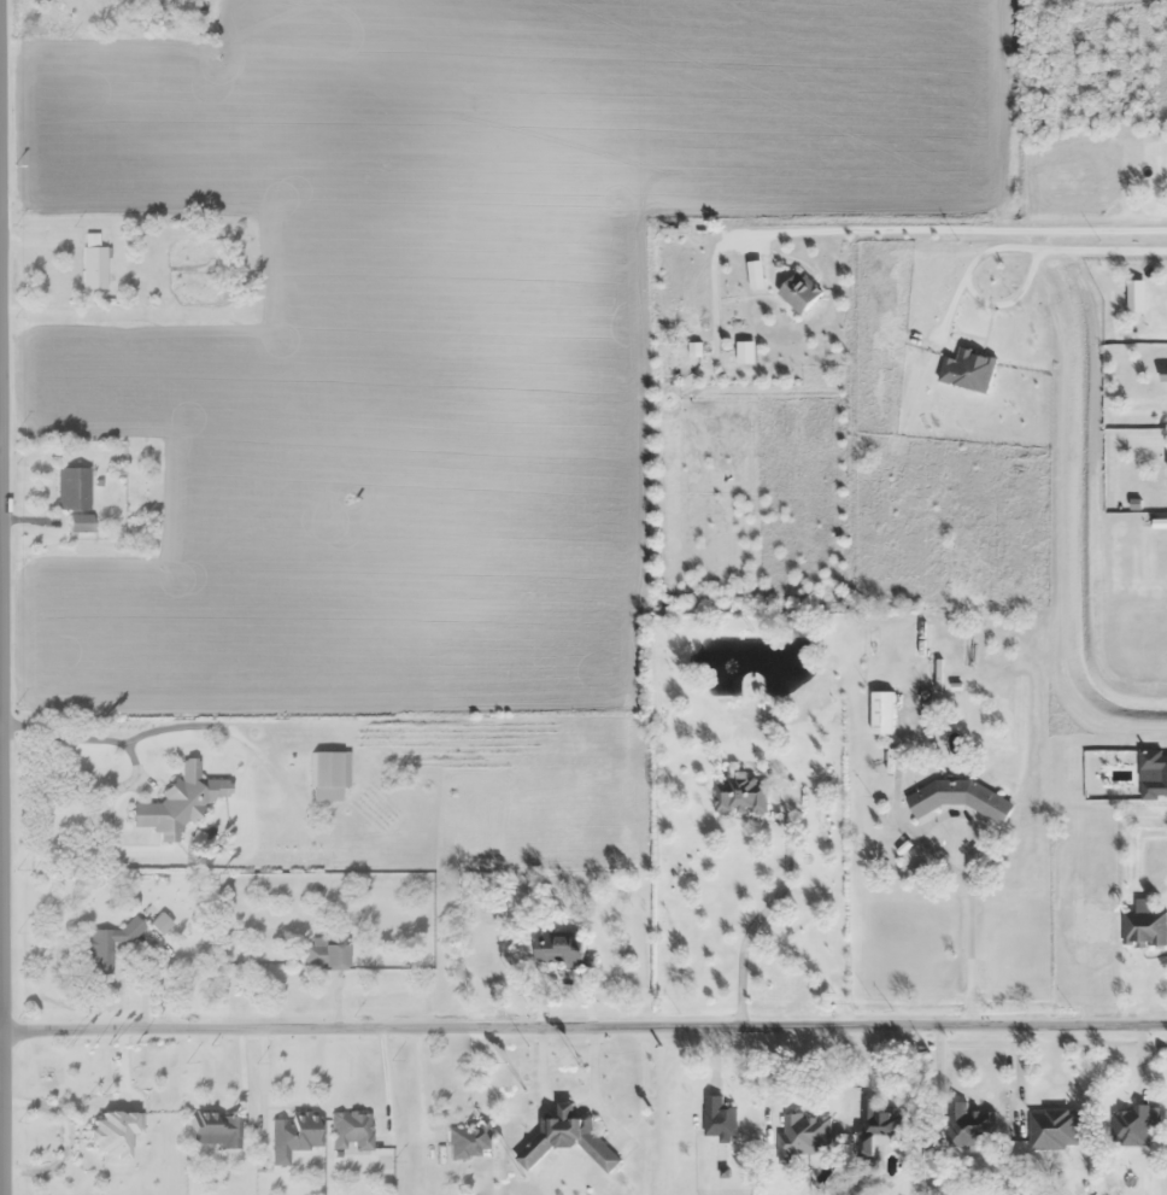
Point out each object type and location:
building: (112, 4)
road: (1009, 233)
road: (1086, 253)
building: (93, 268)
building: (798, 292)
building: (967, 370)
building: (1163, 374)
building: (71, 488)
building: (78, 523)
building: (920, 640)
building: (881, 713)
building: (328, 769)
building: (1153, 774)
building: (740, 797)
building: (958, 798)
building: (176, 803)
road: (1, 806)
building: (1144, 929)
building: (107, 948)
building: (557, 949)
building: (322, 955)
road: (583, 1027)
building: (717, 1118)
building: (969, 1125)
building: (876, 1126)
building: (1131, 1127)
building: (1051, 1129)
building: (213, 1130)
building: (348, 1132)
building: (111, 1135)
building: (802, 1135)
building: (292, 1136)
building: (567, 1140)
building: (469, 1141)

